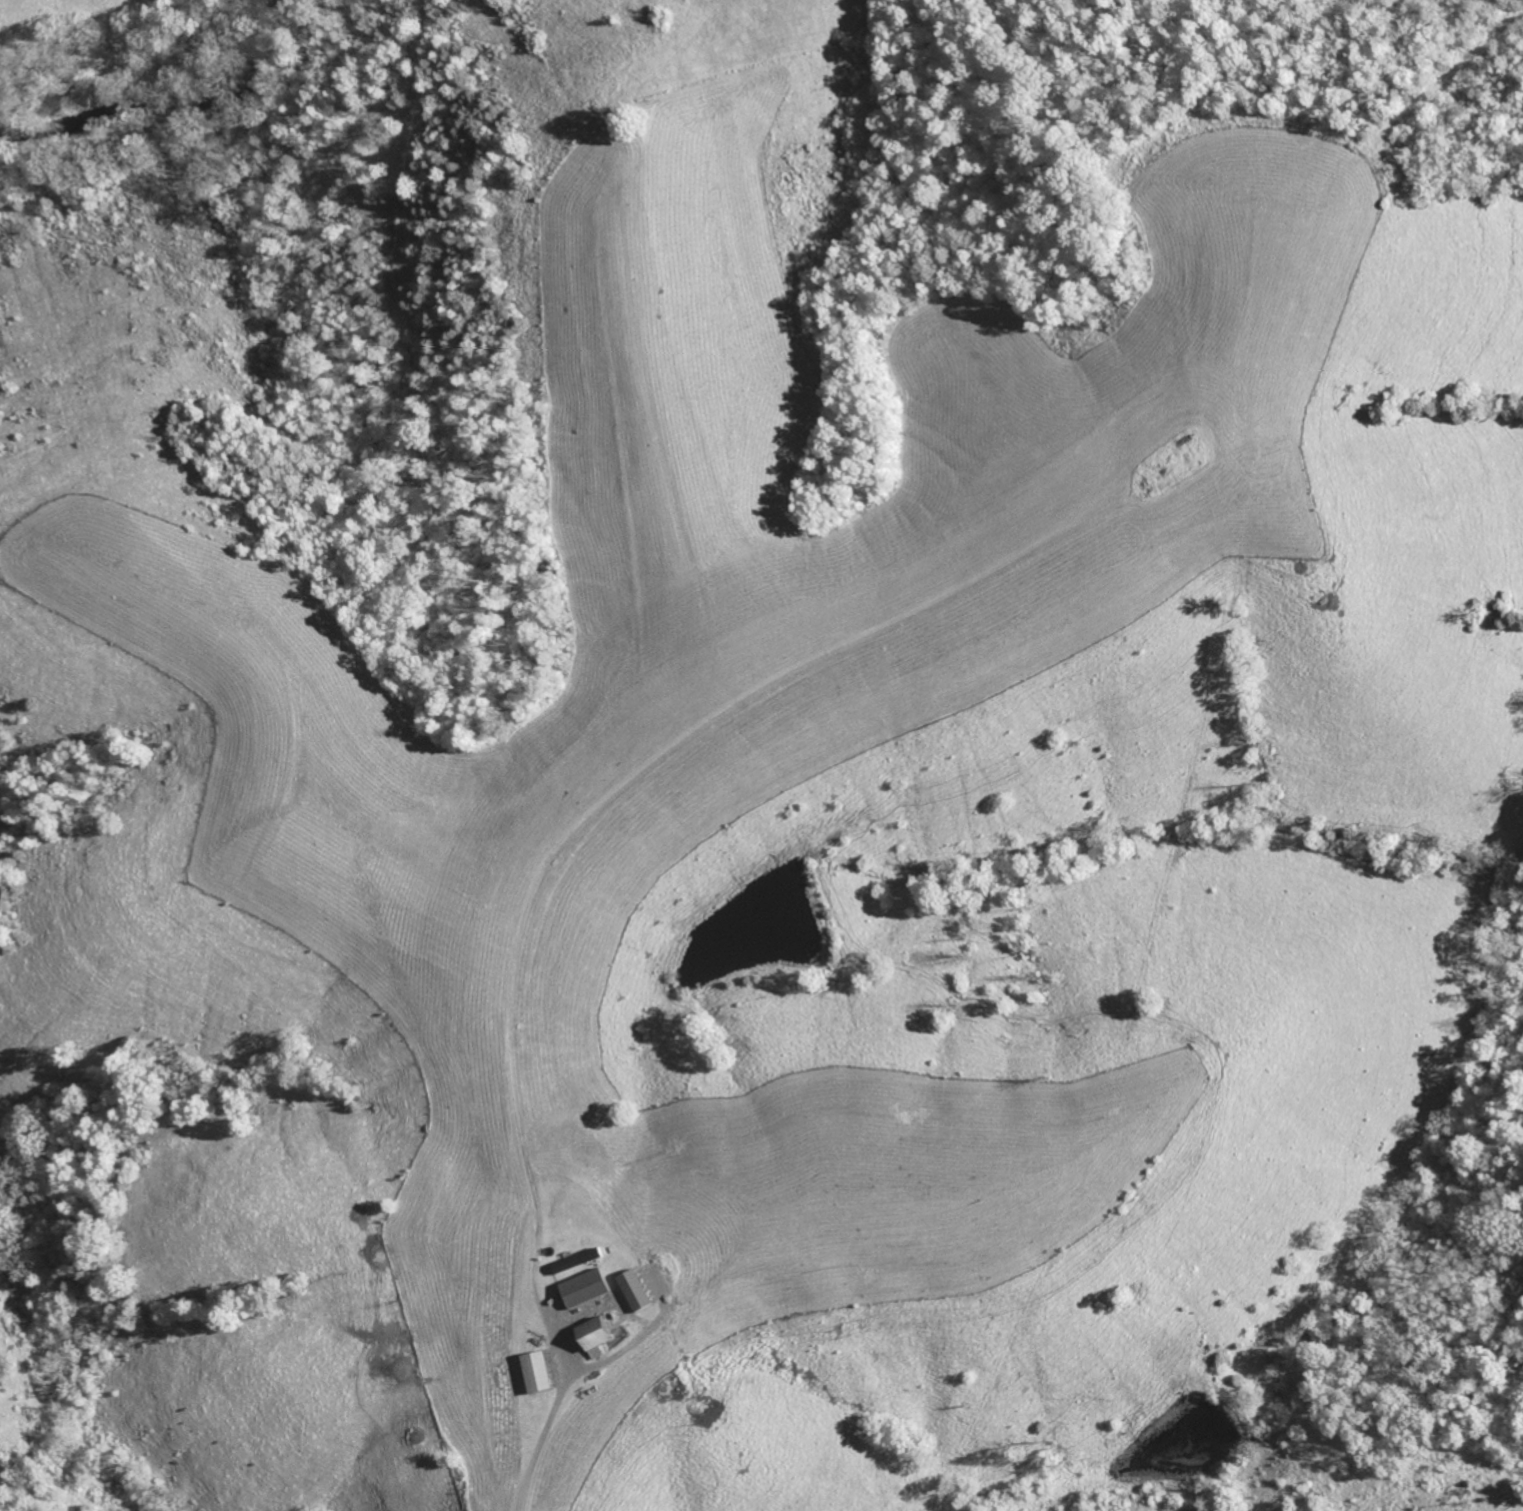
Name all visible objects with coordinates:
building: (588, 1288)
building: (638, 1290)
building: (599, 1337)
building: (540, 1372)

